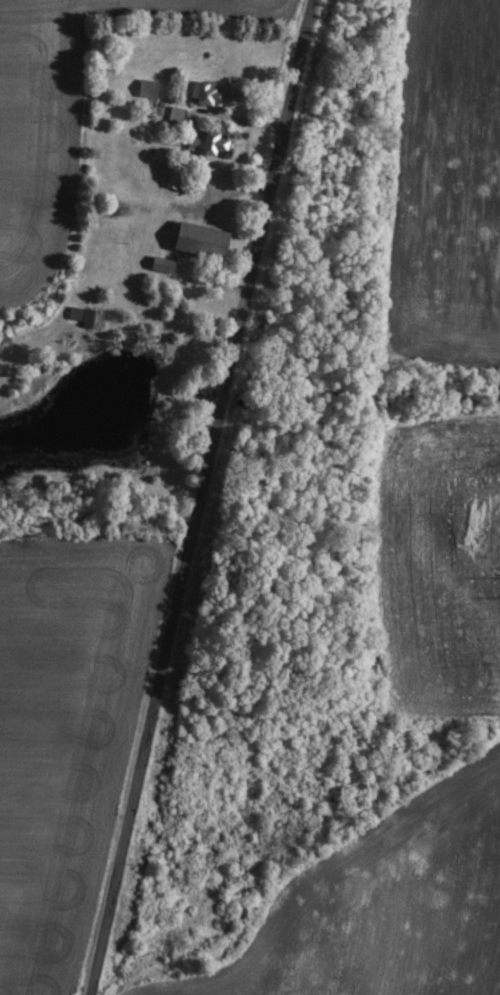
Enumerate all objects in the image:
building: (143, 86)
building: (201, 91)
building: (173, 112)
road: (246, 119)
building: (203, 143)
road: (233, 190)
building: (191, 238)
building: (156, 263)
building: (78, 314)
road: (199, 497)

